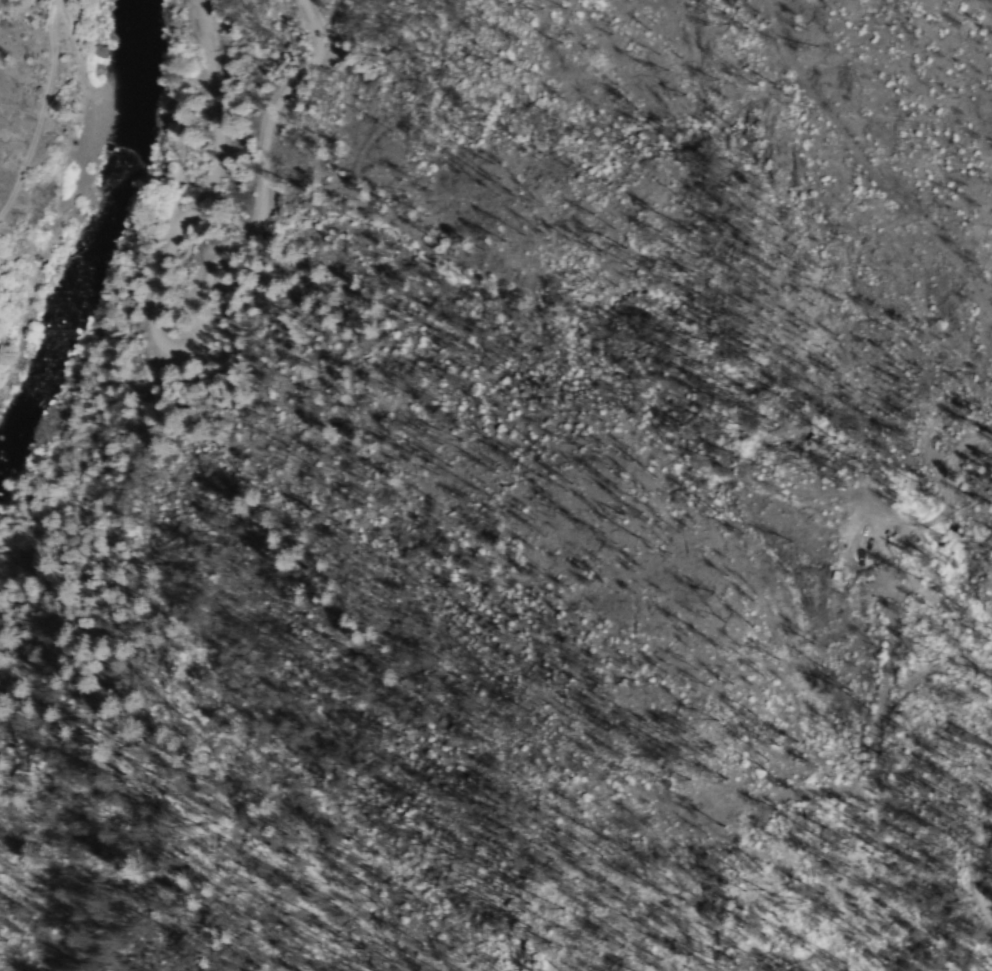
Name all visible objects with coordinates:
road: (2, 20)
river: (91, 239)
road: (178, 333)
road: (979, 877)

